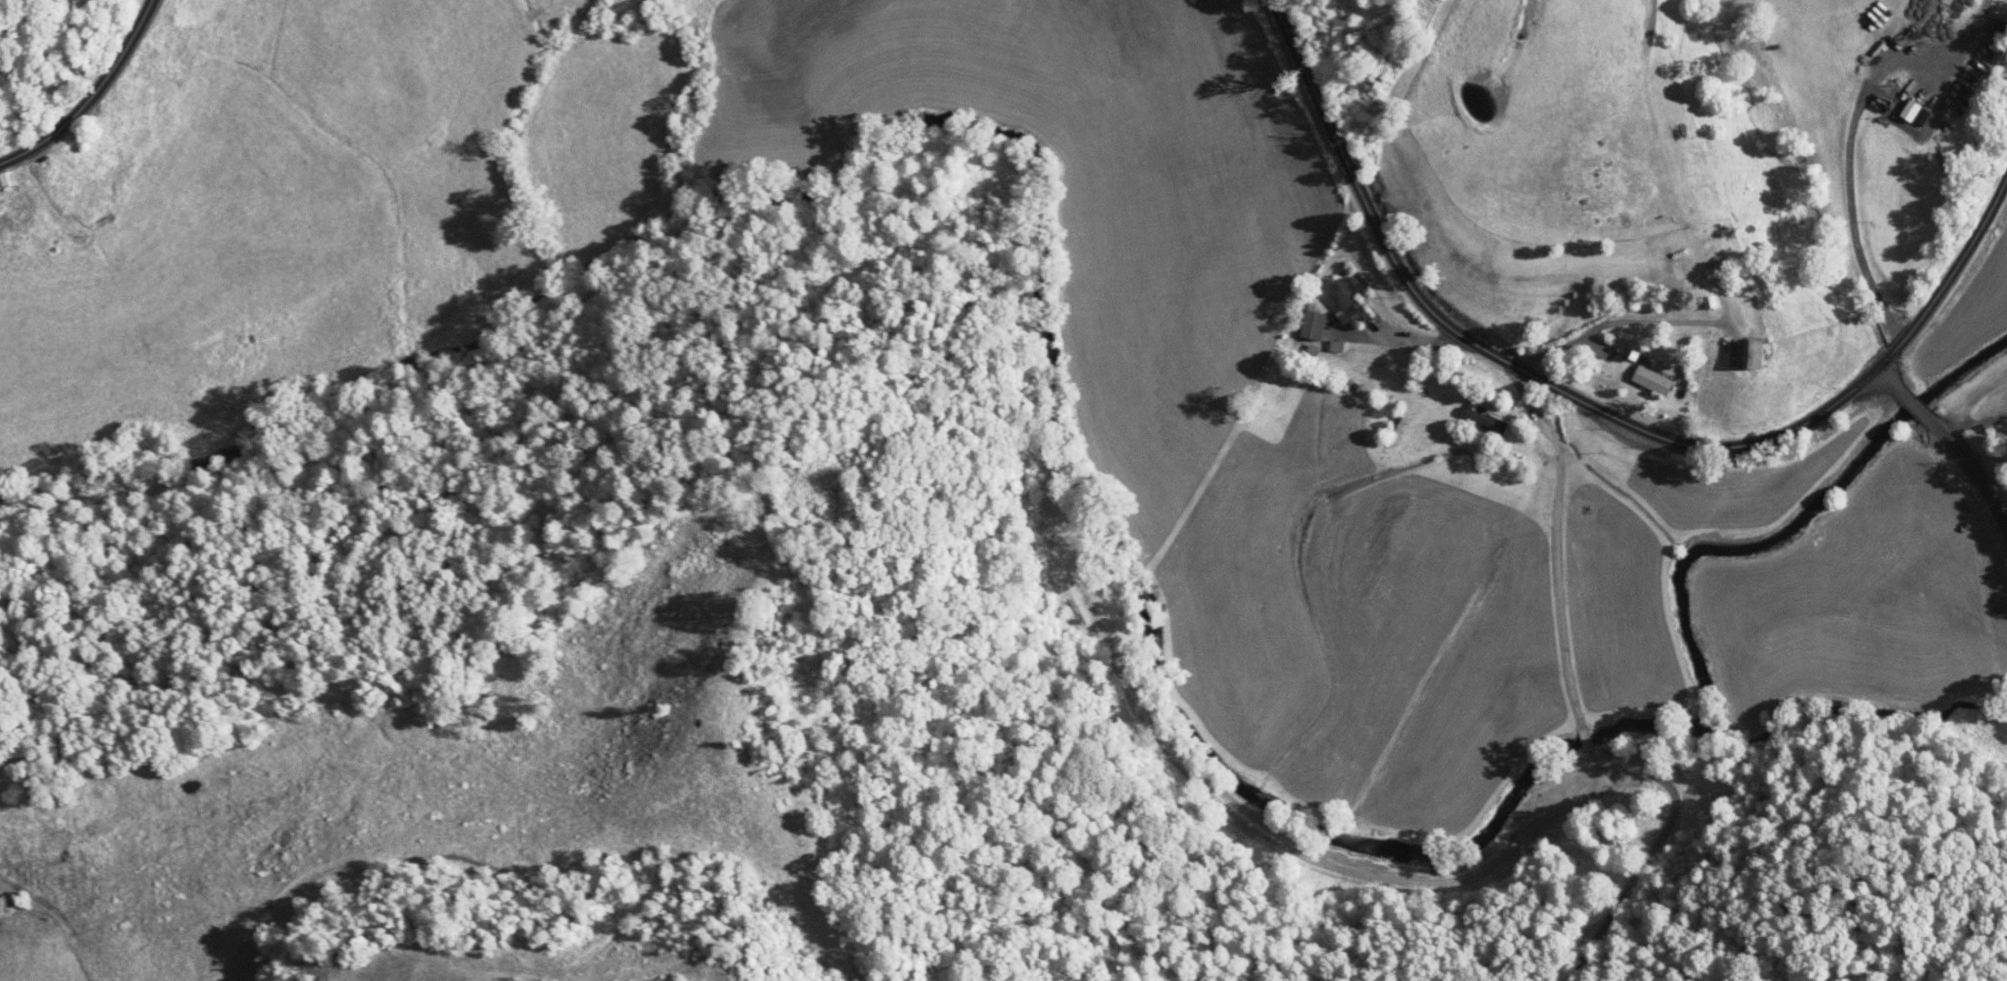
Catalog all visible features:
road: (90, 95)
building: (1901, 109)
building: (6, 181)
river: (1032, 190)
road: (1946, 272)
building: (1342, 286)
road: (1609, 320)
road: (1416, 337)
building: (1735, 352)
road: (1488, 353)
building: (1358, 355)
building: (1642, 379)
road: (1883, 379)
road: (1914, 406)
road: (1975, 474)
road: (1552, 542)
road: (1581, 738)
road: (1655, 842)

